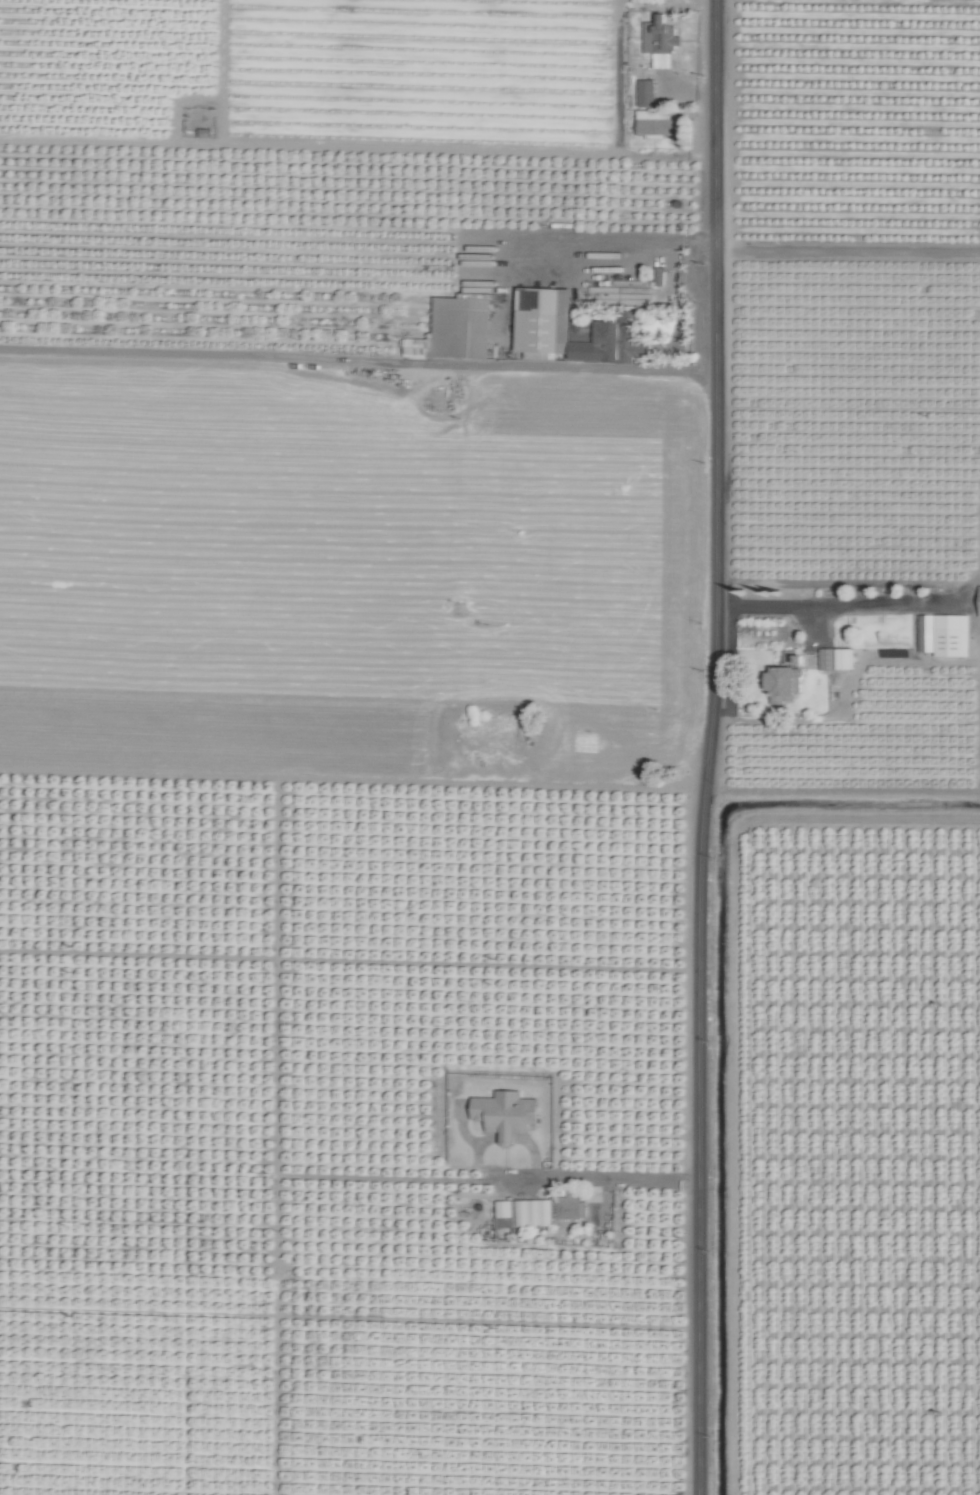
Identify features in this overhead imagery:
building: (660, 41)
building: (645, 93)
building: (657, 124)
building: (545, 321)
road: (574, 369)
building: (978, 601)
road: (854, 608)
building: (944, 635)
building: (836, 659)
building: (786, 679)
road: (705, 747)
crop: (529, 776)
building: (506, 1114)
road: (609, 1178)
building: (571, 1206)
building: (522, 1213)

